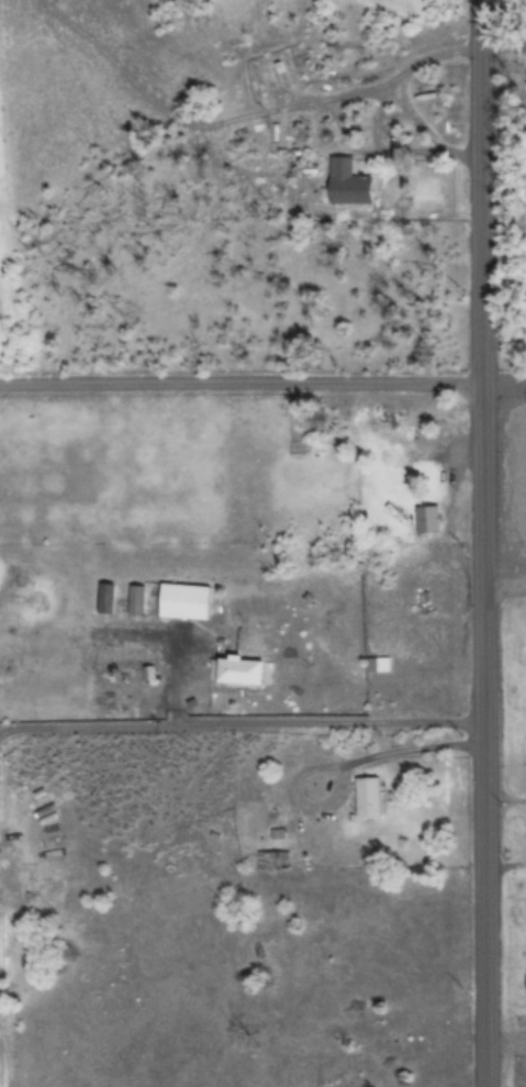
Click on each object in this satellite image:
building: (346, 185)
road: (240, 385)
building: (426, 519)
crop: (262, 543)
road: (482, 543)
road: (504, 589)
building: (107, 599)
building: (137, 600)
building: (184, 602)
building: (377, 665)
building: (239, 670)
road: (242, 723)
building: (368, 798)
building: (273, 862)

